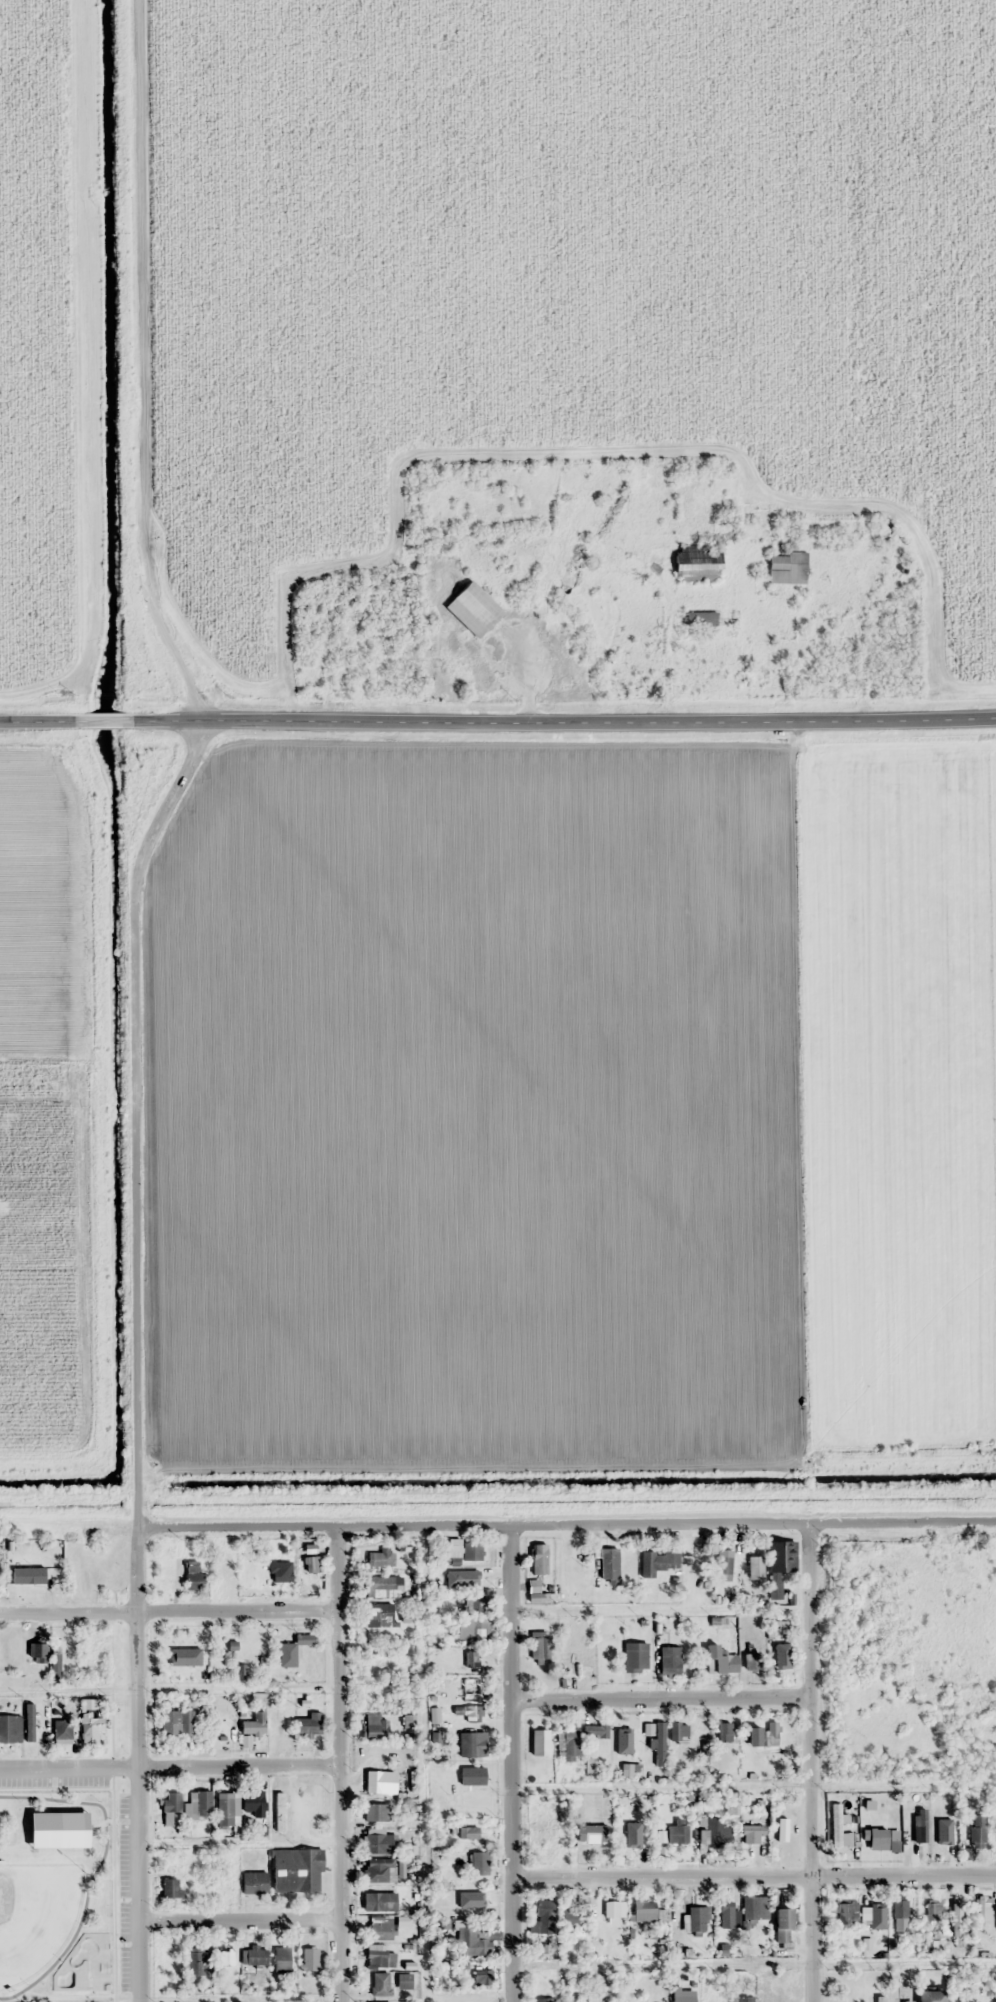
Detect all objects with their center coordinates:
road: (138, 367)
building: (888, 536)
building: (696, 563)
building: (786, 568)
building: (473, 608)
building: (702, 619)
road: (563, 719)
road: (40, 723)
road: (106, 724)
road: (135, 1117)
road: (566, 1526)
building: (464, 1549)
building: (380, 1556)
building: (781, 1556)
building: (538, 1558)
building: (656, 1561)
building: (221, 1564)
building: (604, 1564)
building: (722, 1565)
building: (755, 1567)
building: (279, 1571)
building: (565, 1575)
building: (87, 1576)
building: (192, 1576)
building: (474, 1576)
building: (23, 1581)
building: (382, 1582)
building: (774, 1588)
building: (475, 1603)
road: (168, 1613)
building: (378, 1614)
building: (477, 1629)
building: (539, 1642)
building: (191, 1651)
building: (568, 1653)
building: (287, 1654)
building: (634, 1656)
building: (669, 1660)
building: (55, 1661)
building: (719, 1661)
building: (751, 1662)
building: (777, 1662)
building: (470, 1689)
building: (378, 1694)
road: (660, 1702)
building: (467, 1713)
building: (90, 1720)
building: (176, 1722)
building: (276, 1722)
building: (253, 1725)
building: (308, 1725)
building: (375, 1727)
building: (10, 1729)
building: (61, 1729)
building: (723, 1732)
building: (624, 1733)
building: (677, 1734)
building: (579, 1737)
building: (767, 1737)
building: (471, 1744)
building: (659, 1744)
road: (810, 1762)
road: (339, 1763)
road: (137, 1764)
road: (512, 1764)
road: (170, 1770)
building: (471, 1775)
building: (198, 1803)
building: (169, 1807)
building: (255, 1808)
building: (225, 1809)
building: (278, 1811)
building: (374, 1812)
building: (58, 1821)
building: (837, 1828)
building: (710, 1830)
building: (777, 1831)
building: (543, 1832)
building: (475, 1833)
building: (591, 1833)
building: (673, 1834)
building: (753, 1834)
building: (975, 1834)
building: (941, 1839)
building: (377, 1841)
building: (629, 1841)
building: (477, 1864)
building: (295, 1870)
building: (379, 1871)
road: (755, 1878)
building: (253, 1882)
building: (169, 1888)
park: (55, 1890)
building: (378, 1901)
building: (475, 1903)
building: (754, 1908)
building: (611, 1909)
building: (647, 1911)
building: (873, 1911)
building: (930, 1911)
building: (984, 1911)
building: (846, 1913)
building: (899, 1914)
building: (727, 1915)
building: (543, 1918)
building: (694, 1918)
building: (573, 1920)
road: (240, 1922)
building: (781, 1925)
building: (380, 1927)
building: (470, 1942)
building: (255, 1955)
building: (224, 1956)
building: (281, 1957)
building: (169, 1958)
building: (309, 1958)
building: (377, 1958)
park: (86, 1959)
building: (195, 1961)
building: (483, 1977)
building: (403, 1981)
building: (379, 1983)
building: (895, 1994)
building: (930, 1996)
building: (682, 1998)
building: (740, 1999)
building: (879, 1999)
building: (544, 2000)
building: (961, 2001)

